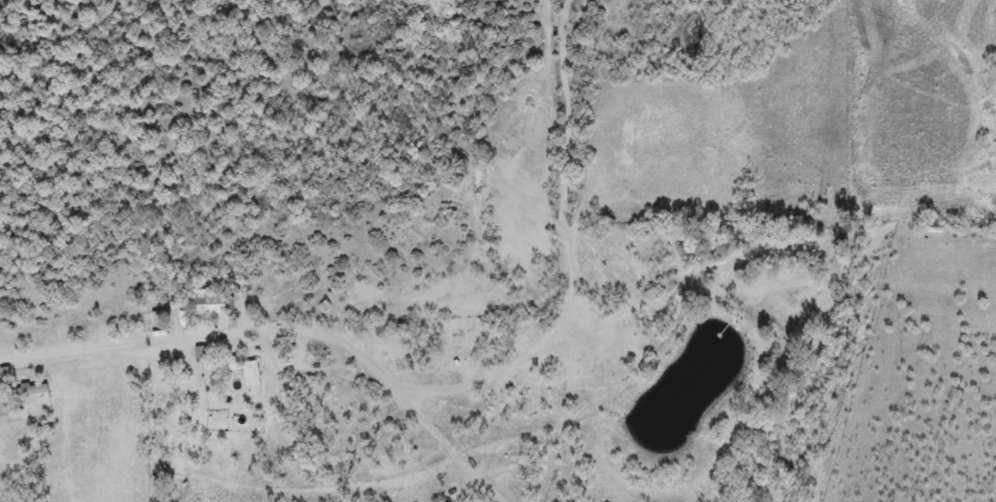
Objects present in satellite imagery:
building: (205, 303)
building: (247, 371)
building: (34, 390)

